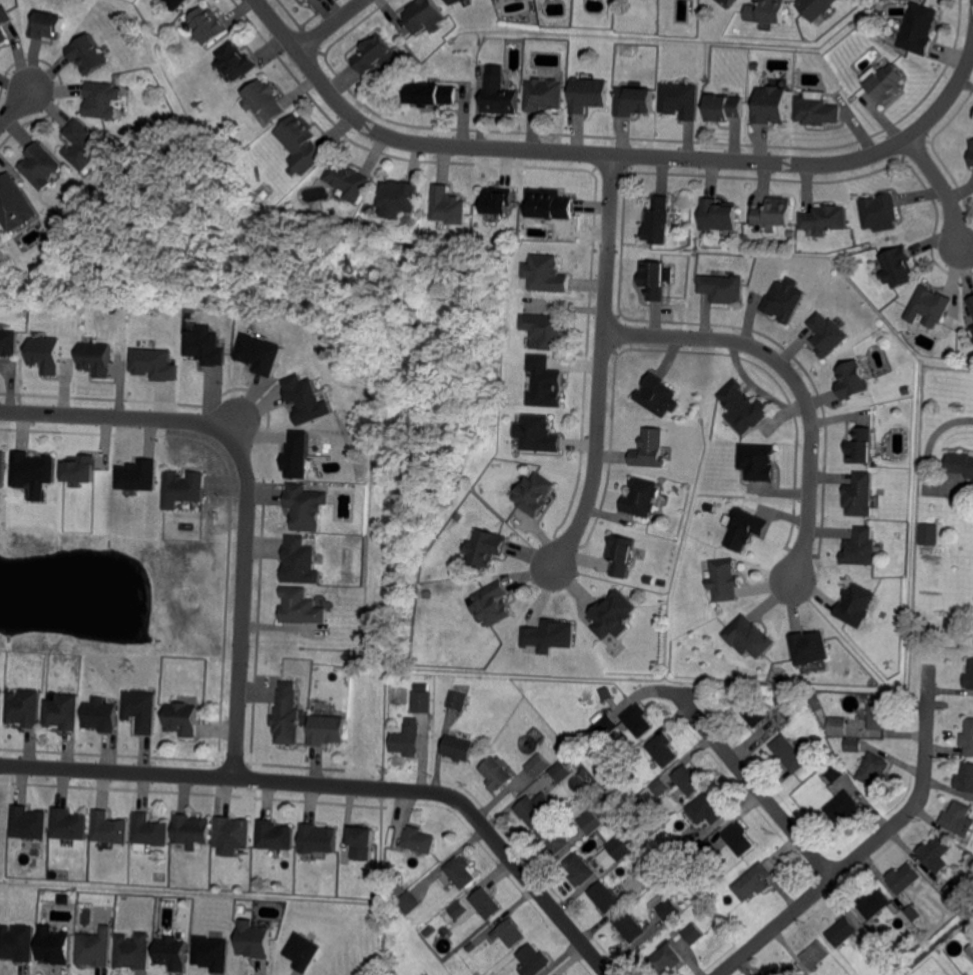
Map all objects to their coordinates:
building: (452, 1)
building: (174, 3)
building: (727, 3)
building: (815, 7)
building: (766, 12)
building: (426, 16)
building: (5, 17)
building: (208, 23)
building: (47, 27)
road: (336, 29)
building: (919, 29)
building: (3, 38)
building: (374, 53)
building: (88, 55)
building: (235, 60)
building: (886, 84)
building: (431, 94)
building: (545, 94)
building: (588, 94)
building: (498, 96)
building: (263, 99)
building: (101, 100)
building: (681, 100)
building: (634, 101)
road: (16, 104)
building: (770, 106)
building: (724, 108)
building: (816, 110)
building: (300, 141)
building: (82, 148)
building: (971, 152)
road: (603, 156)
building: (40, 167)
building: (347, 181)
road: (946, 183)
building: (398, 196)
building: (497, 201)
building: (14, 204)
building: (548, 205)
building: (448, 207)
building: (316, 208)
building: (878, 210)
building: (773, 213)
building: (718, 216)
building: (825, 220)
building: (657, 221)
building: (897, 267)
building: (546, 275)
building: (654, 280)
building: (722, 289)
building: (784, 300)
building: (971, 303)
building: (930, 304)
building: (972, 329)
building: (546, 332)
building: (827, 335)
building: (8, 343)
building: (204, 344)
building: (44, 353)
building: (260, 353)
building: (96, 359)
building: (153, 363)
road: (605, 365)
building: (853, 381)
road: (796, 382)
building: (546, 383)
building: (906, 391)
building: (659, 396)
building: (307, 401)
building: (744, 408)
building: (537, 434)
building: (862, 447)
building: (651, 450)
building: (297, 454)
building: (758, 462)
building: (961, 463)
building: (78, 468)
building: (2, 469)
building: (33, 471)
building: (137, 474)
road: (245, 486)
building: (183, 489)
building: (534, 494)
building: (860, 495)
building: (642, 498)
building: (306, 507)
building: (712, 507)
building: (459, 517)
building: (745, 529)
building: (928, 532)
building: (486, 548)
building: (862, 548)
building: (622, 555)
building: (300, 562)
building: (649, 580)
building: (724, 580)
building: (492, 605)
building: (856, 606)
building: (301, 608)
building: (614, 616)
building: (550, 637)
building: (748, 637)
building: (810, 648)
building: (969, 675)
building: (422, 687)
building: (605, 692)
building: (0, 696)
building: (457, 700)
building: (422, 701)
building: (792, 706)
building: (24, 709)
building: (141, 711)
building: (63, 713)
building: (755, 714)
building: (881, 715)
building: (101, 716)
building: (287, 718)
building: (183, 719)
building: (638, 720)
building: (607, 725)
building: (838, 725)
building: (327, 730)
building: (408, 738)
building: (968, 738)
building: (854, 744)
building: (459, 747)
building: (664, 749)
building: (790, 753)
building: (537, 764)
building: (874, 768)
building: (835, 770)
building: (562, 771)
building: (497, 774)
building: (966, 777)
building: (606, 779)
building: (689, 780)
road: (754, 783)
road: (345, 786)
building: (844, 806)
building: (709, 808)
building: (537, 809)
building: (956, 816)
building: (591, 821)
building: (658, 822)
building: (28, 824)
building: (69, 825)
building: (108, 827)
building: (151, 831)
building: (191, 831)
building: (233, 833)
building: (276, 836)
building: (554, 837)
building: (740, 838)
building: (420, 839)
building: (318, 840)
building: (363, 843)
road: (871, 843)
building: (620, 847)
building: (681, 847)
building: (711, 851)
building: (935, 853)
building: (580, 869)
building: (459, 872)
building: (614, 877)
building: (904, 877)
building: (396, 880)
building: (753, 882)
building: (396, 890)
building: (954, 891)
building: (609, 898)
building: (408, 901)
building: (487, 903)
building: (874, 903)
building: (669, 907)
building: (458, 909)
building: (913, 912)
building: (631, 926)
building: (873, 926)
building: (842, 931)
building: (693, 932)
building: (510, 933)
building: (255, 940)
building: (17, 944)
building: (470, 945)
building: (54, 946)
building: (95, 948)
building: (970, 949)
building: (134, 951)
building: (302, 951)
building: (173, 952)
building: (212, 953)
building: (816, 955)
building: (666, 959)
building: (533, 961)
building: (788, 971)
building: (557, 974)

